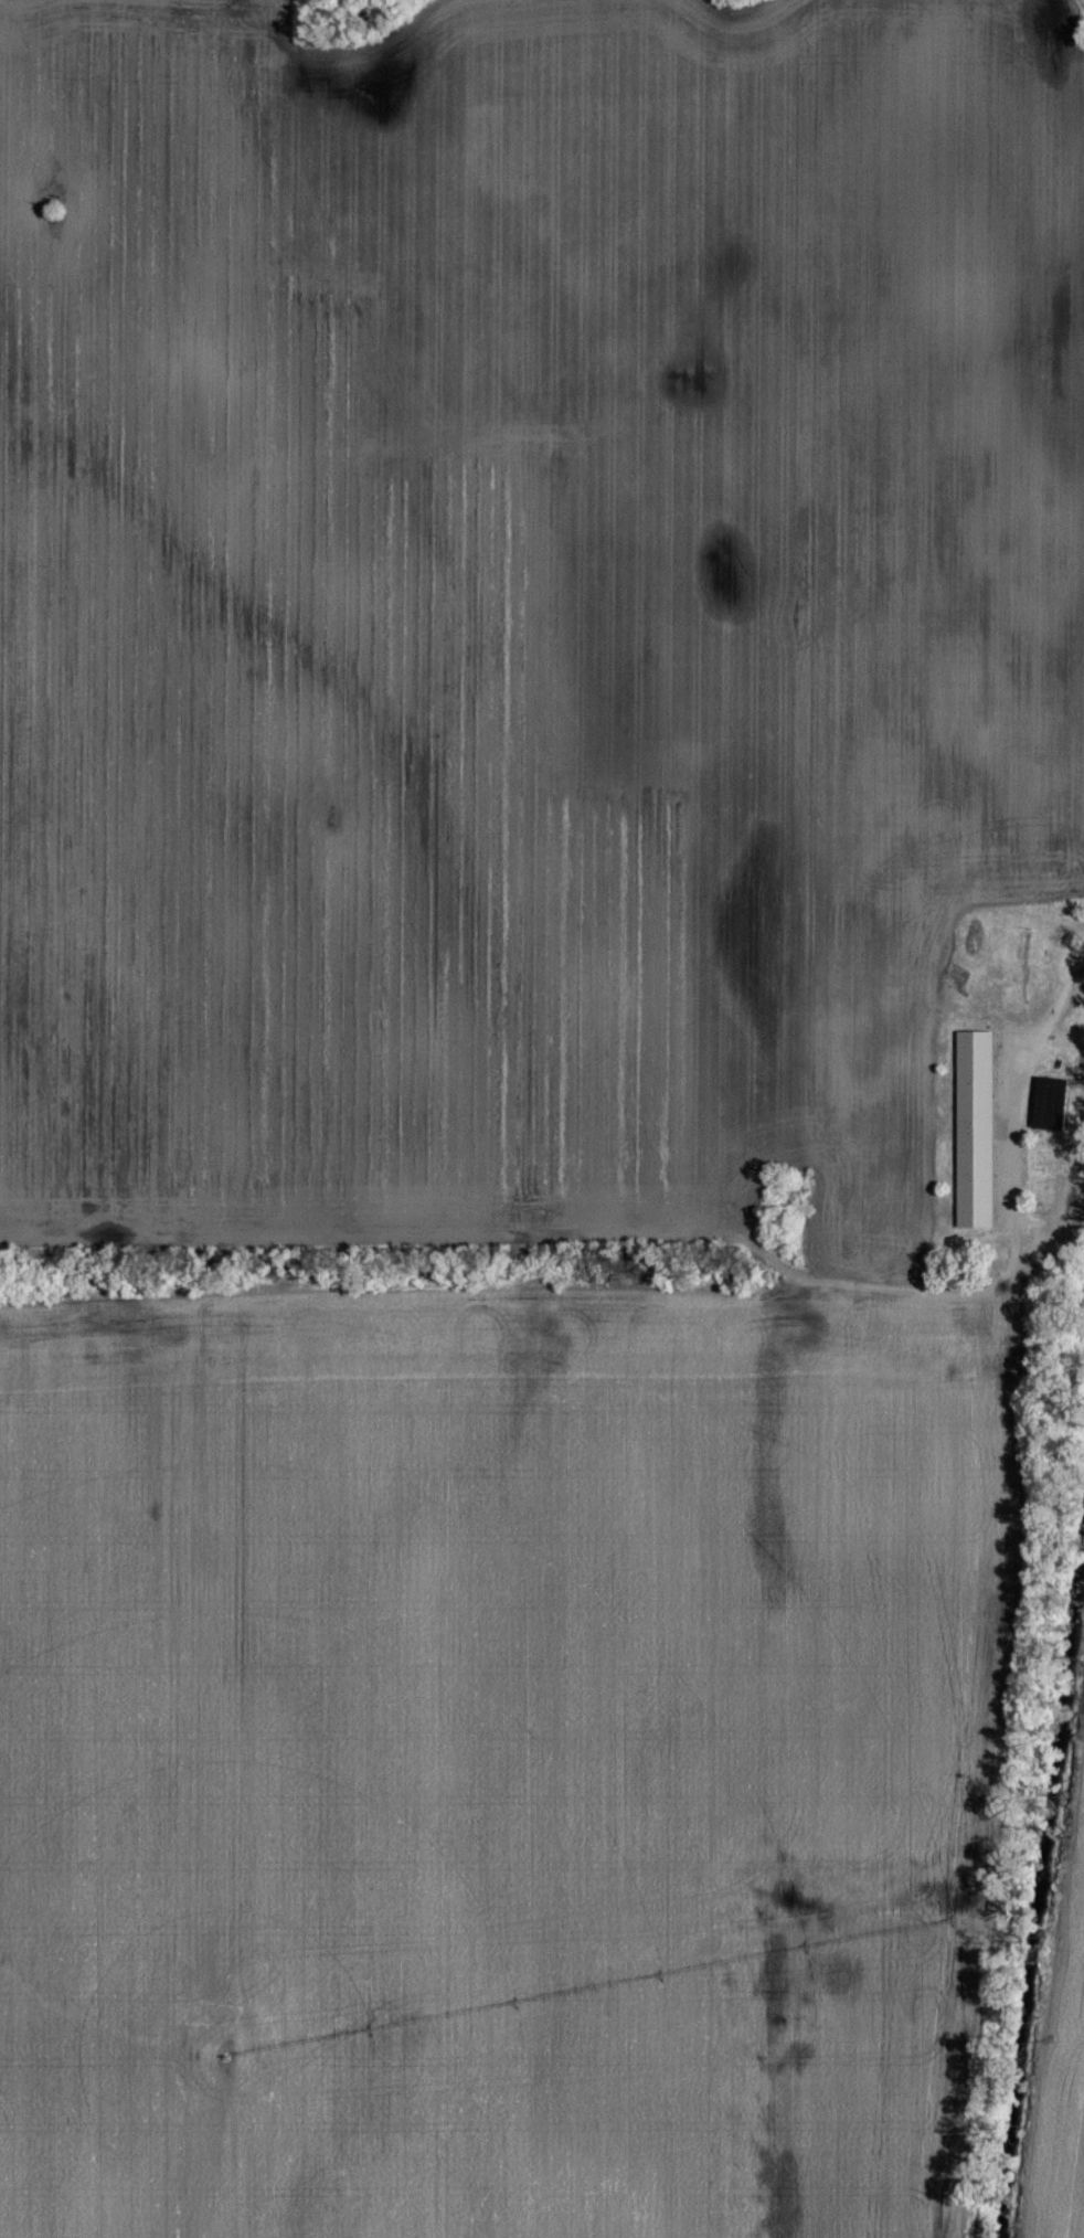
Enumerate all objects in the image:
building: (977, 1138)
road: (1025, 1286)

